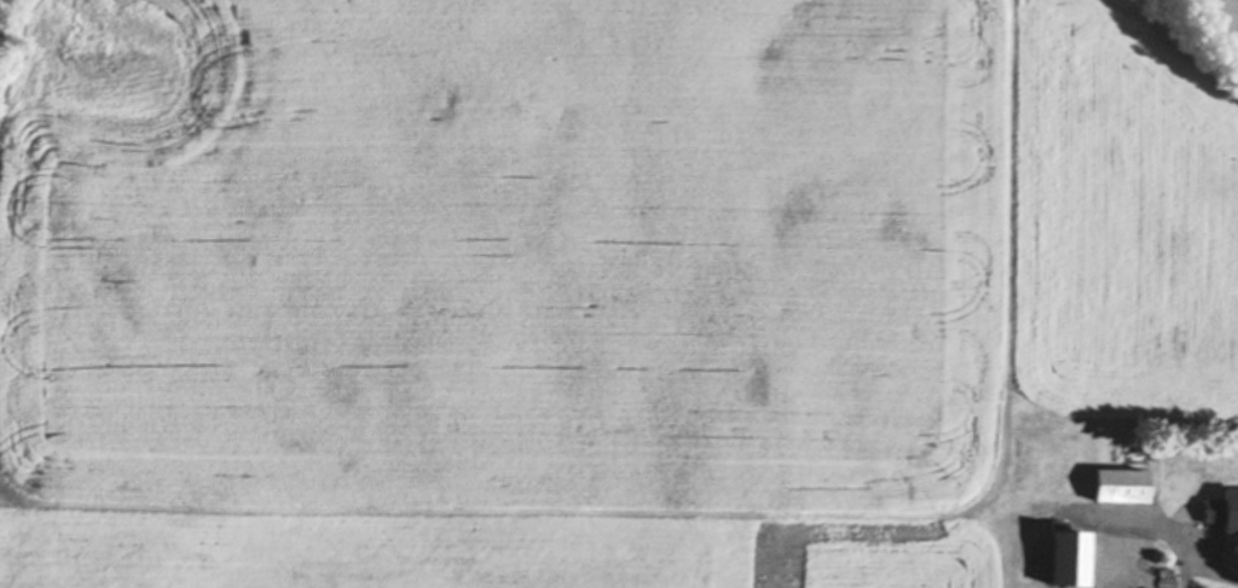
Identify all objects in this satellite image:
building: (1123, 485)
building: (1223, 511)
road: (1185, 536)
building: (1070, 560)

